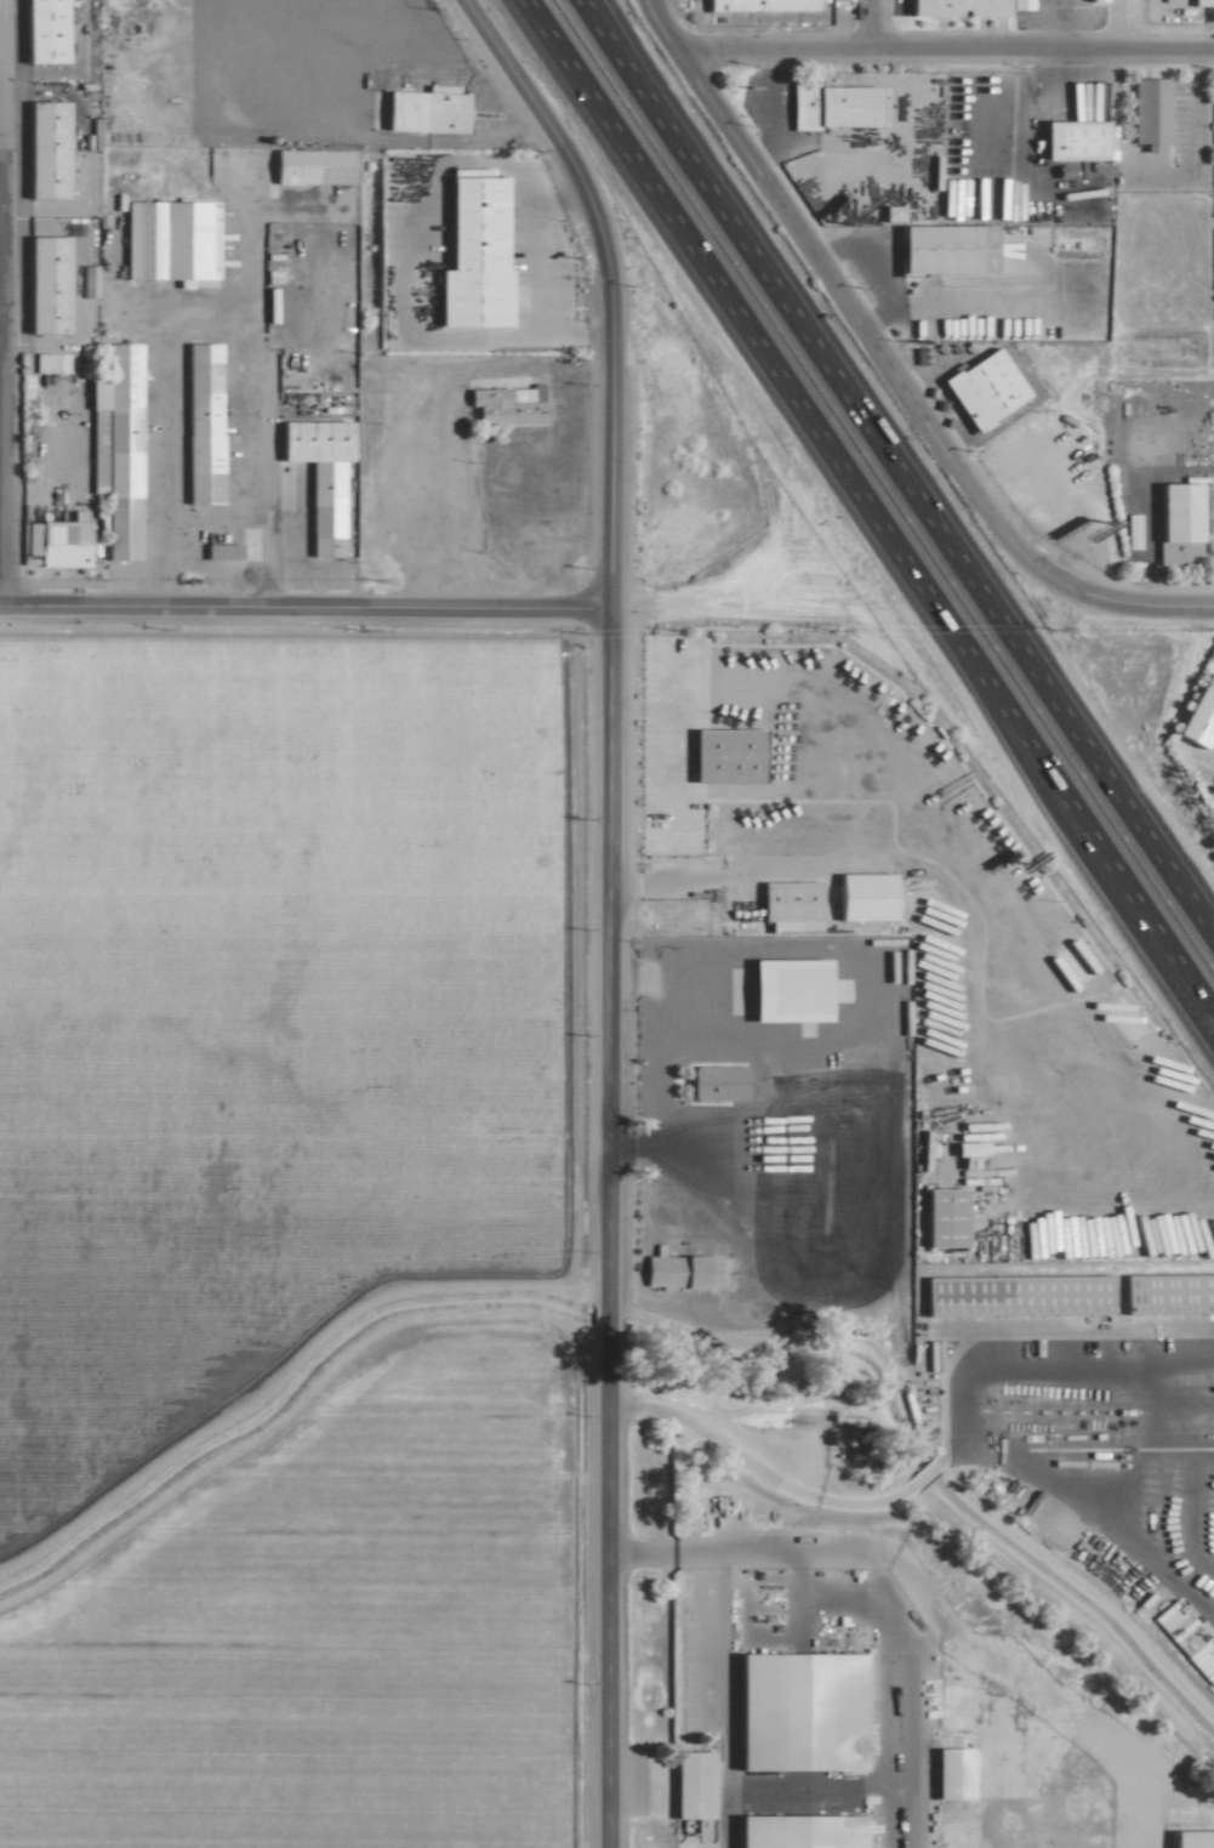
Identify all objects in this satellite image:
building: (1201, 2)
building: (756, 5)
building: (954, 7)
road: (867, 23)
road: (1124, 23)
building: (40, 32)
road: (945, 46)
building: (831, 106)
building: (424, 110)
road: (538, 110)
building: (1147, 113)
building: (1072, 141)
building: (42, 150)
building: (309, 167)
road: (557, 199)
building: (889, 214)
building: (169, 240)
road: (531, 249)
building: (942, 250)
building: (471, 252)
road: (400, 279)
building: (86, 282)
building: (44, 284)
road: (847, 305)
road: (204, 314)
building: (45, 362)
building: (982, 388)
building: (505, 404)
road: (609, 416)
building: (200, 422)
building: (115, 448)
road: (899, 466)
building: (318, 474)
road: (843, 482)
building: (1175, 522)
building: (61, 542)
building: (220, 551)
road: (1140, 603)
road: (304, 605)
building: (1197, 712)
building: (724, 754)
road: (672, 762)
building: (862, 895)
building: (791, 904)
road: (608, 954)
building: (786, 989)
road: (1192, 996)
road: (655, 1058)
building: (714, 1082)
building: (942, 1217)
building: (673, 1272)
building: (1169, 1292)
building: (1018, 1293)
road: (606, 1324)
road: (1024, 1330)
road: (758, 1466)
road: (927, 1472)
road: (603, 1596)
road: (888, 1622)
road: (720, 1645)
building: (796, 1712)
building: (951, 1774)
building: (689, 1785)
building: (796, 1831)
building: (1190, 1840)

